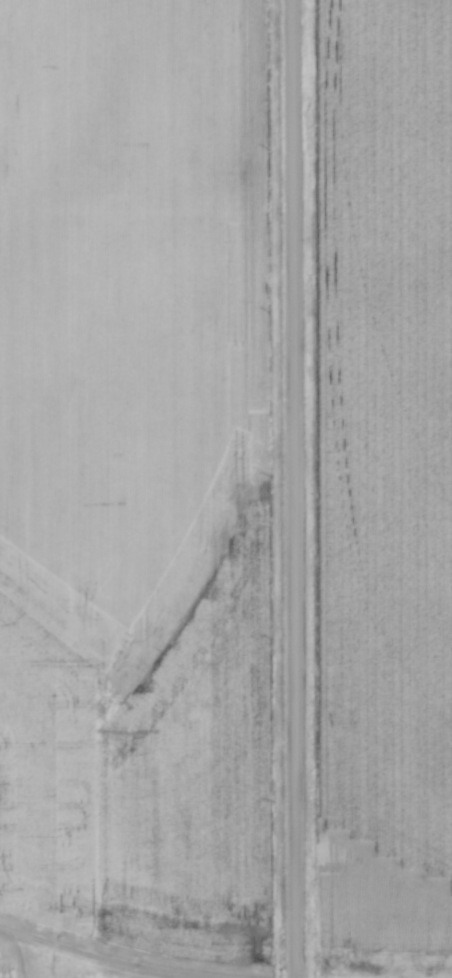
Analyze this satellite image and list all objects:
road: (291, 488)
road: (86, 960)

